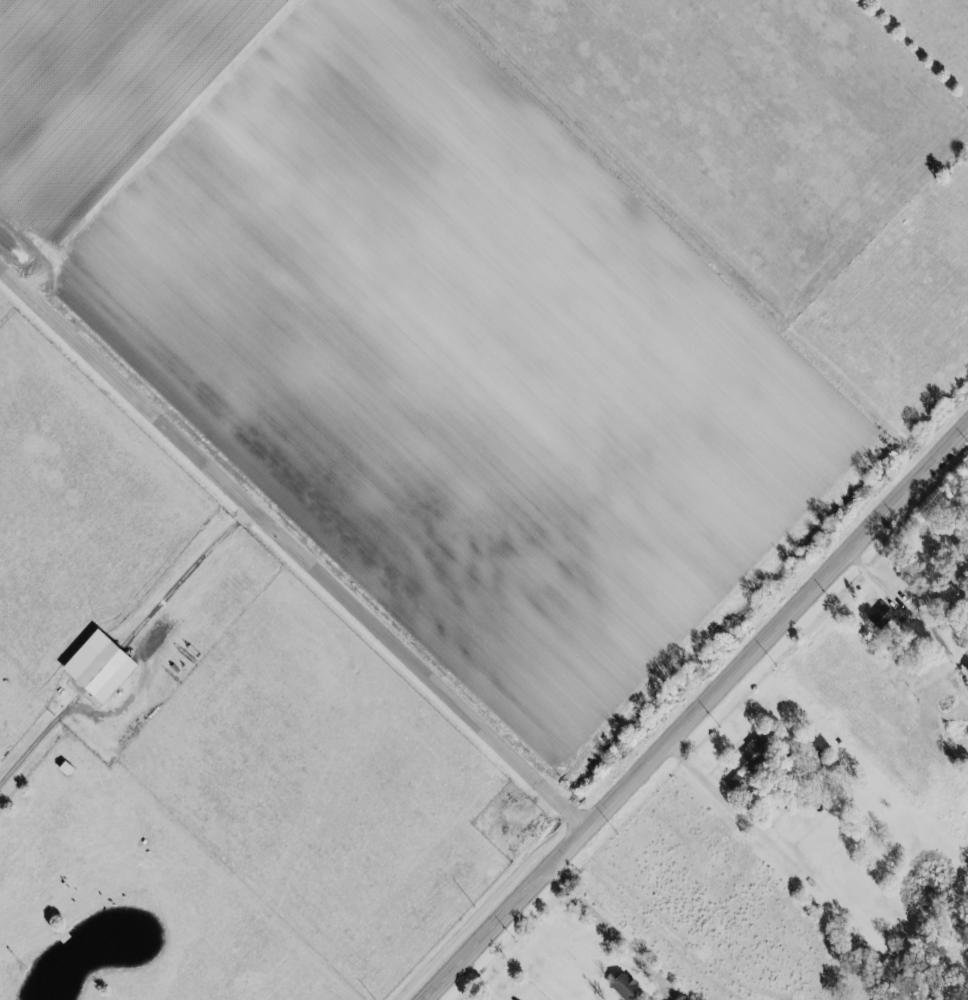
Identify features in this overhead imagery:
road: (295, 546)
building: (878, 617)
building: (966, 670)
building: (98, 672)
building: (94, 698)
road: (695, 709)
road: (36, 742)
building: (751, 751)
building: (732, 784)
road: (738, 797)
road: (619, 922)
building: (621, 986)

